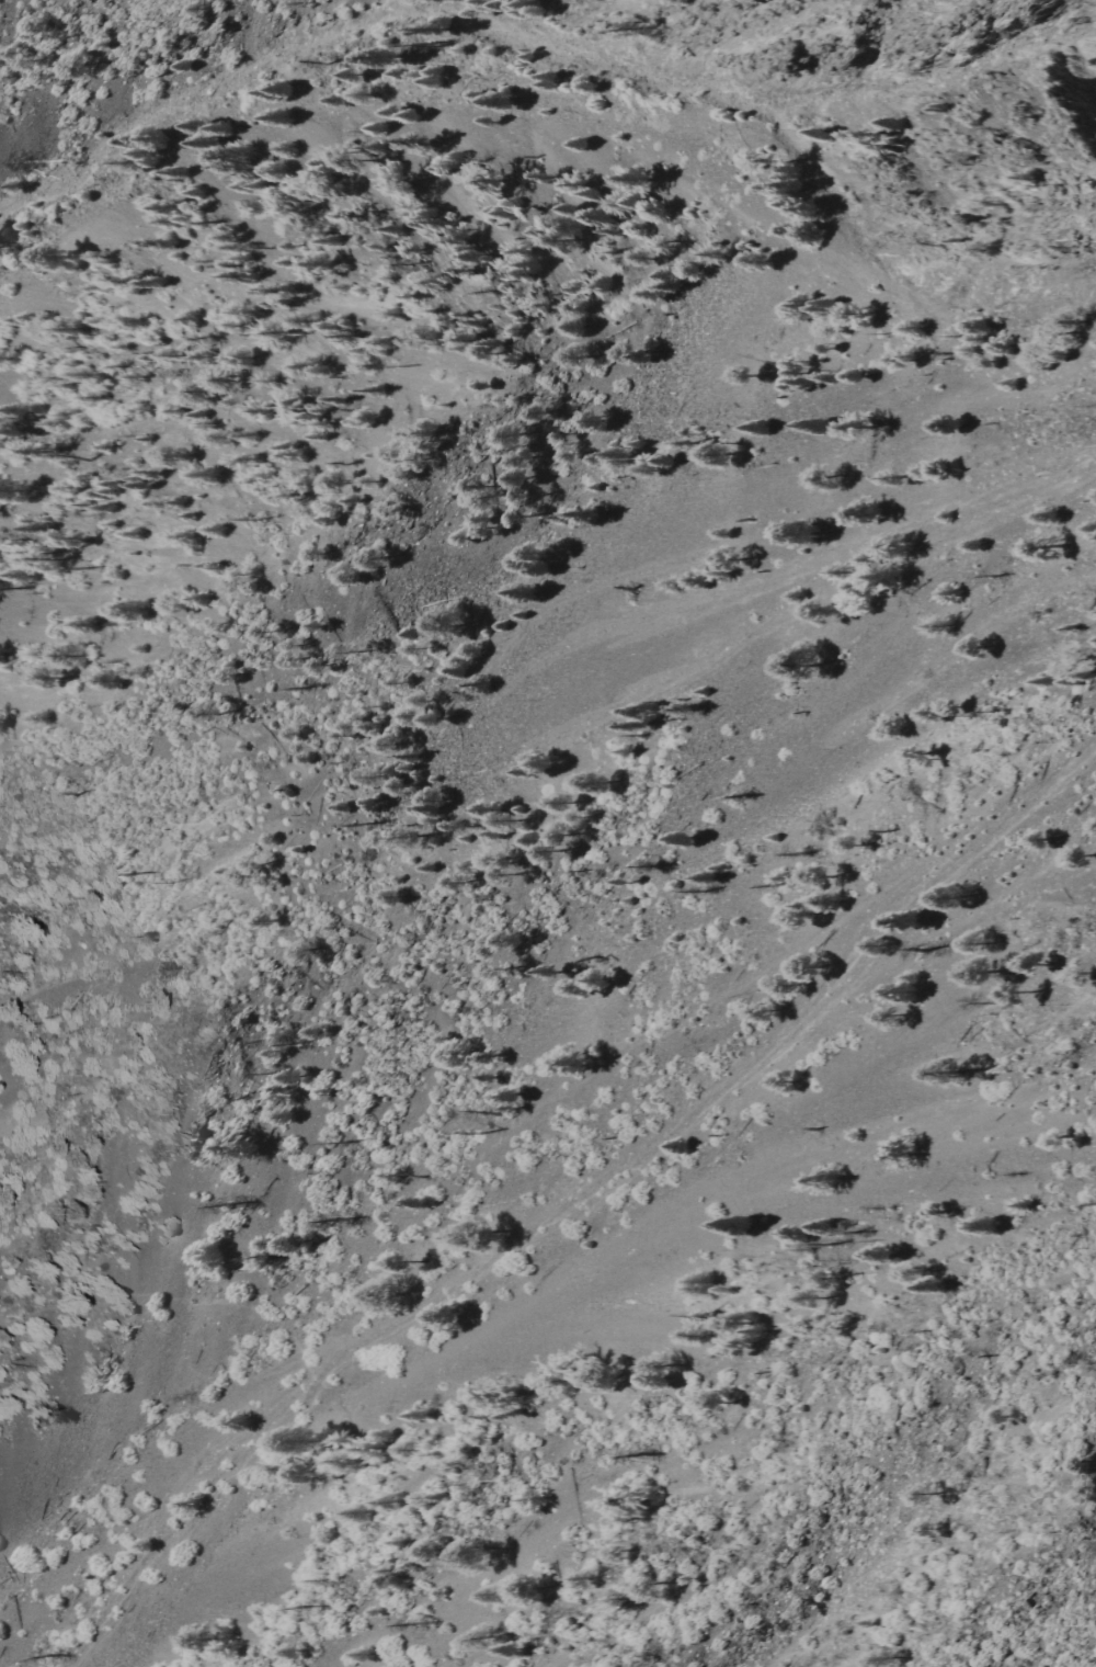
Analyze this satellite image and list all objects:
road: (316, 1381)

